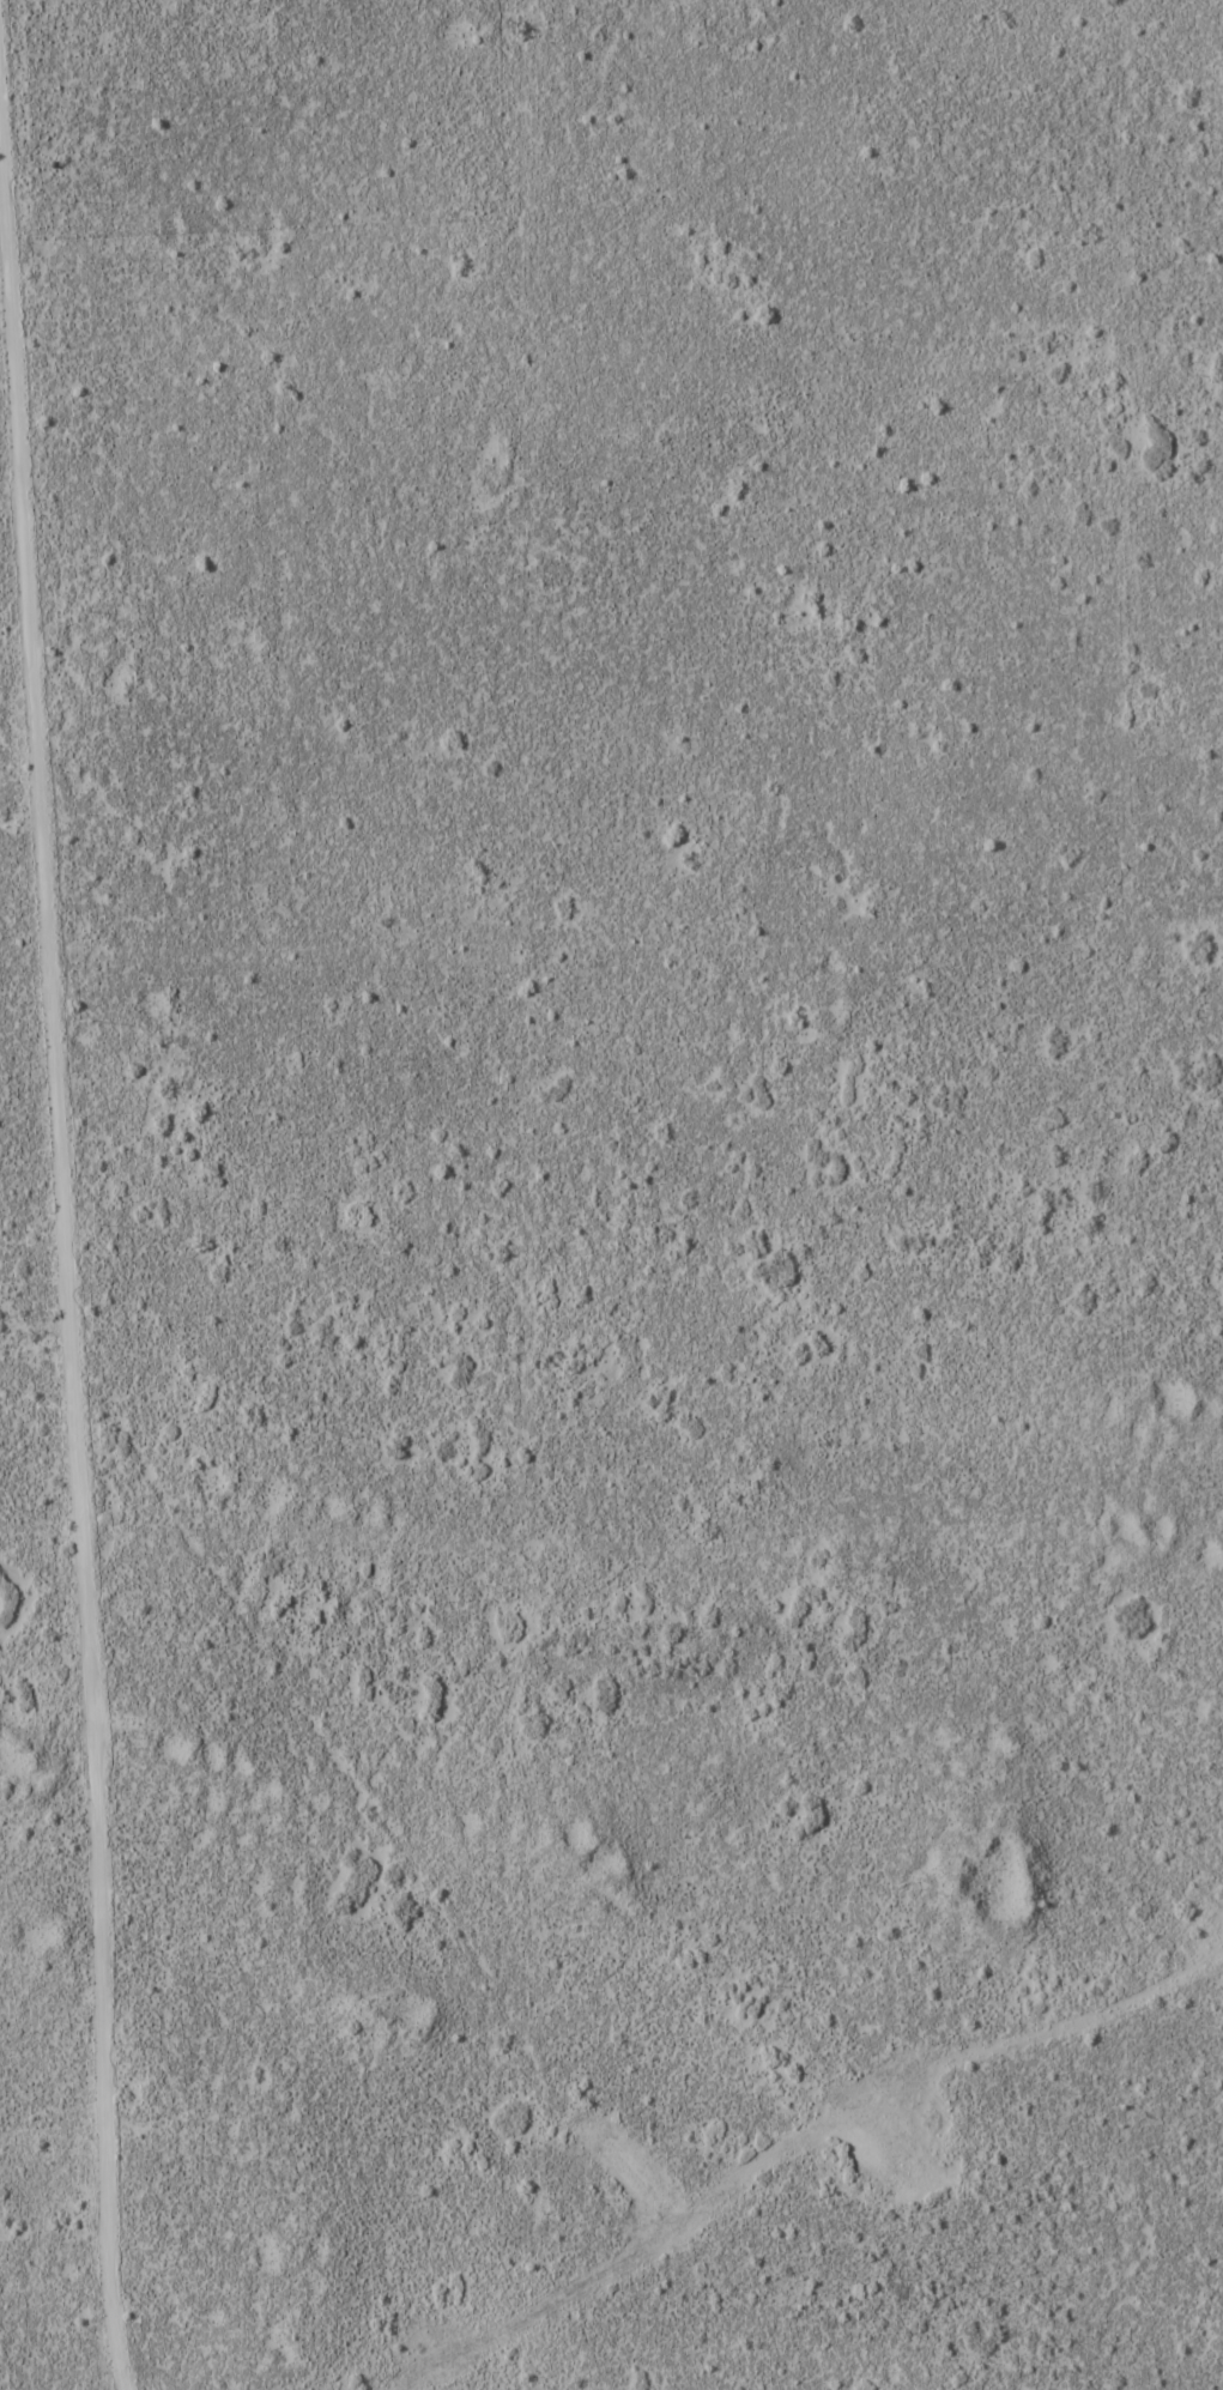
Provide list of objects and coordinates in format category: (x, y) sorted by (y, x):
road: (61, 1309)

